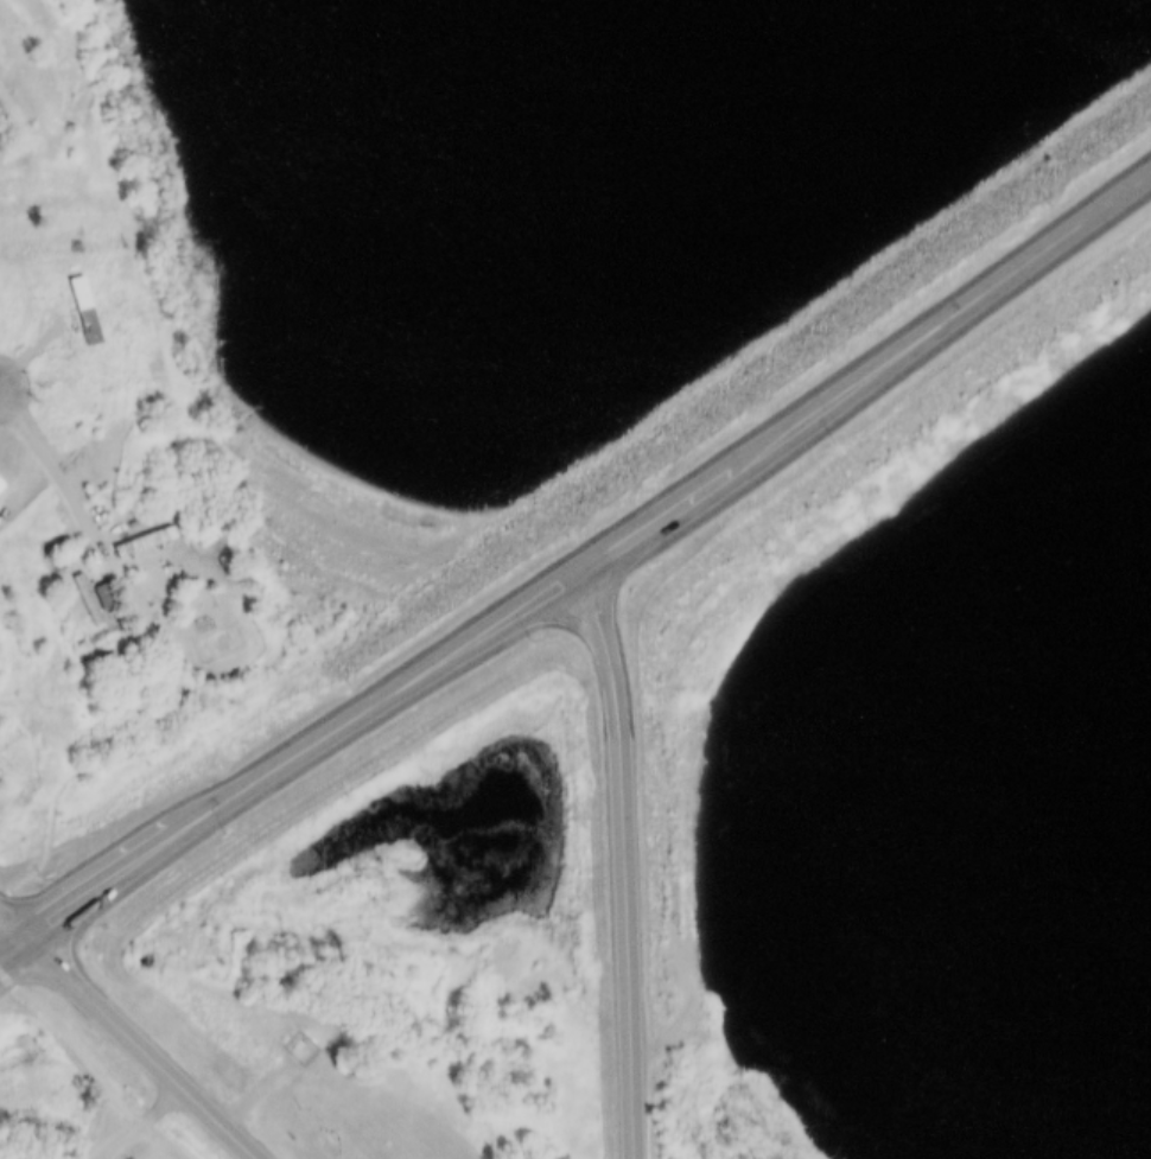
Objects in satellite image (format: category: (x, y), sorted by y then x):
road: (935, 289)
road: (56, 473)
building: (0, 484)
road: (655, 488)
building: (135, 529)
building: (269, 531)
building: (77, 587)
building: (89, 598)
road: (384, 677)
road: (43, 828)
road: (622, 843)
road: (100, 877)
road: (12, 918)
road: (12, 937)
building: (184, 1038)
road: (146, 1043)
road: (133, 1120)

